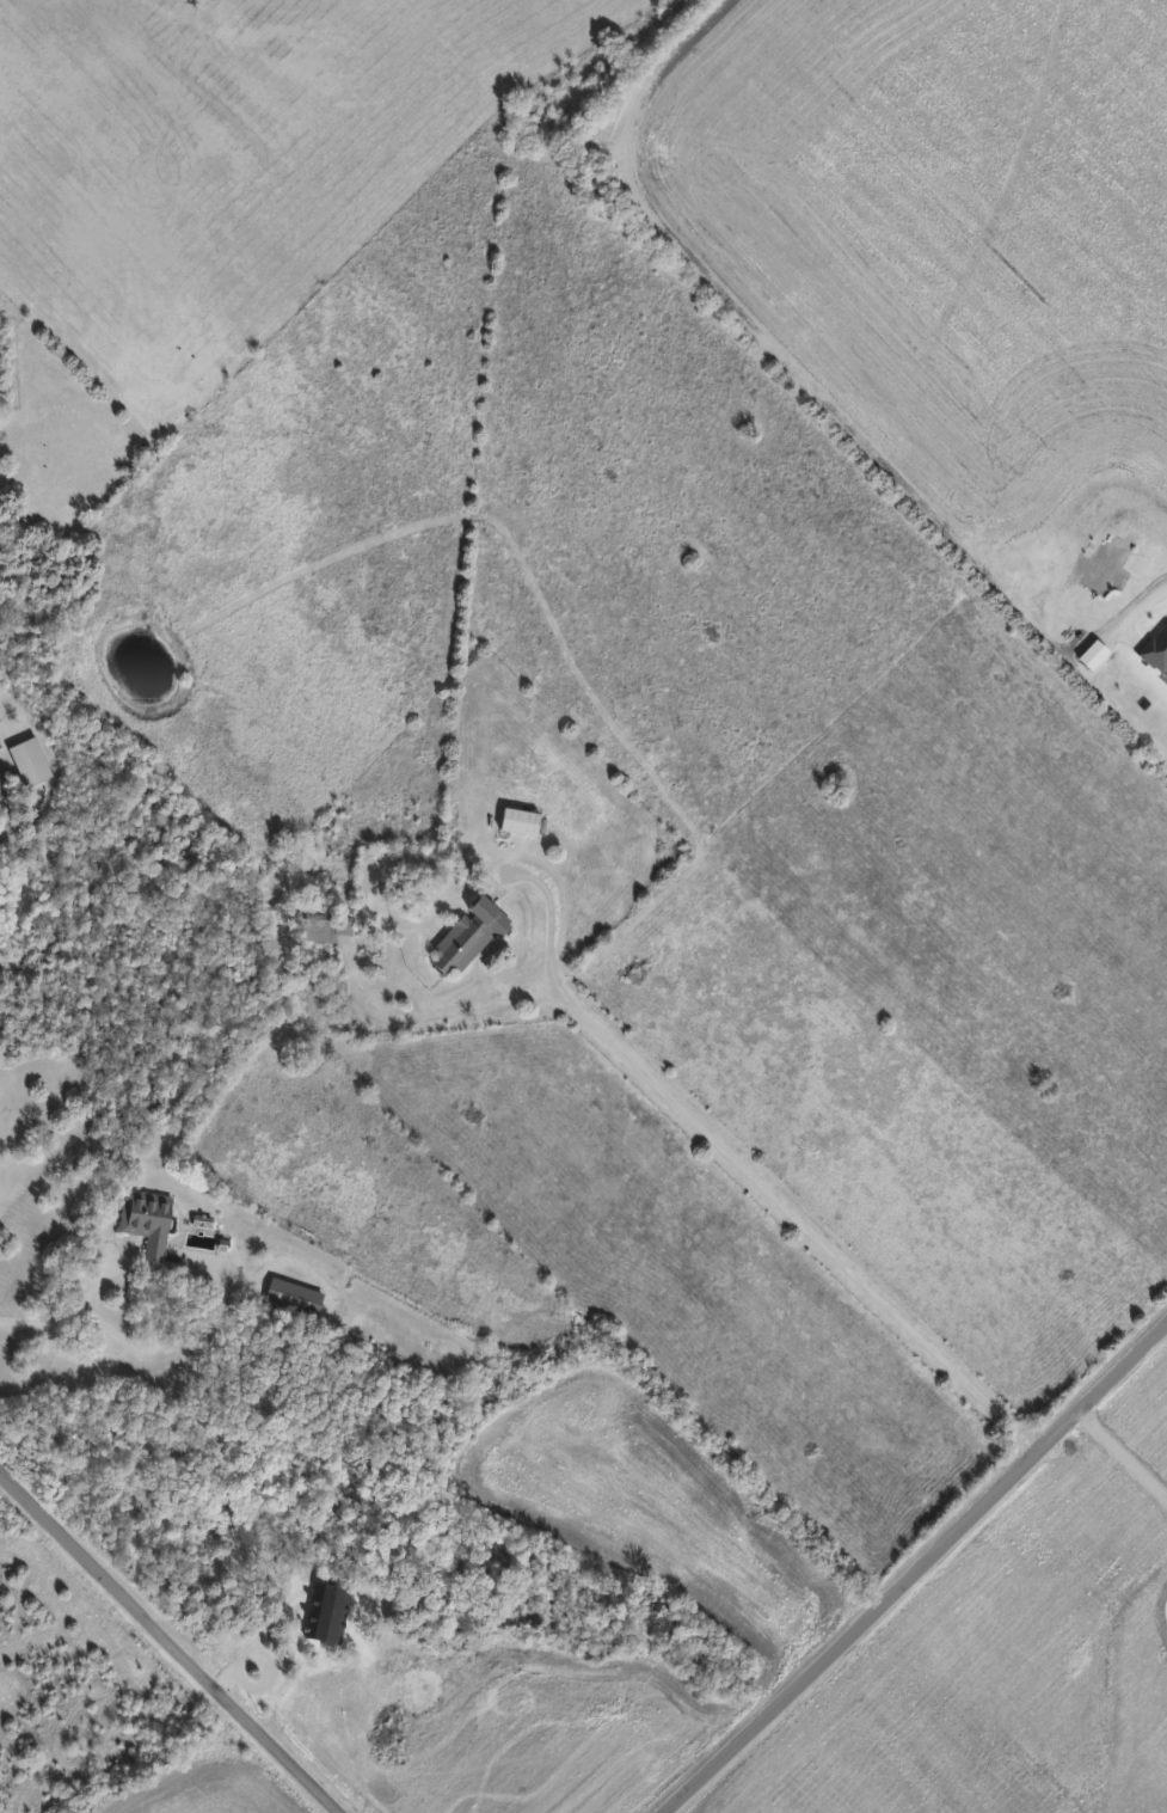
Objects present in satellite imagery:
road: (1140, 605)
building: (32, 764)
building: (522, 823)
road: (547, 914)
building: (327, 929)
building: (471, 937)
road: (448, 1012)
building: (149, 1224)
road: (794, 1224)
road: (189, 1291)
building: (295, 1299)
road: (41, 1319)
road: (915, 1568)
road: (165, 1646)

